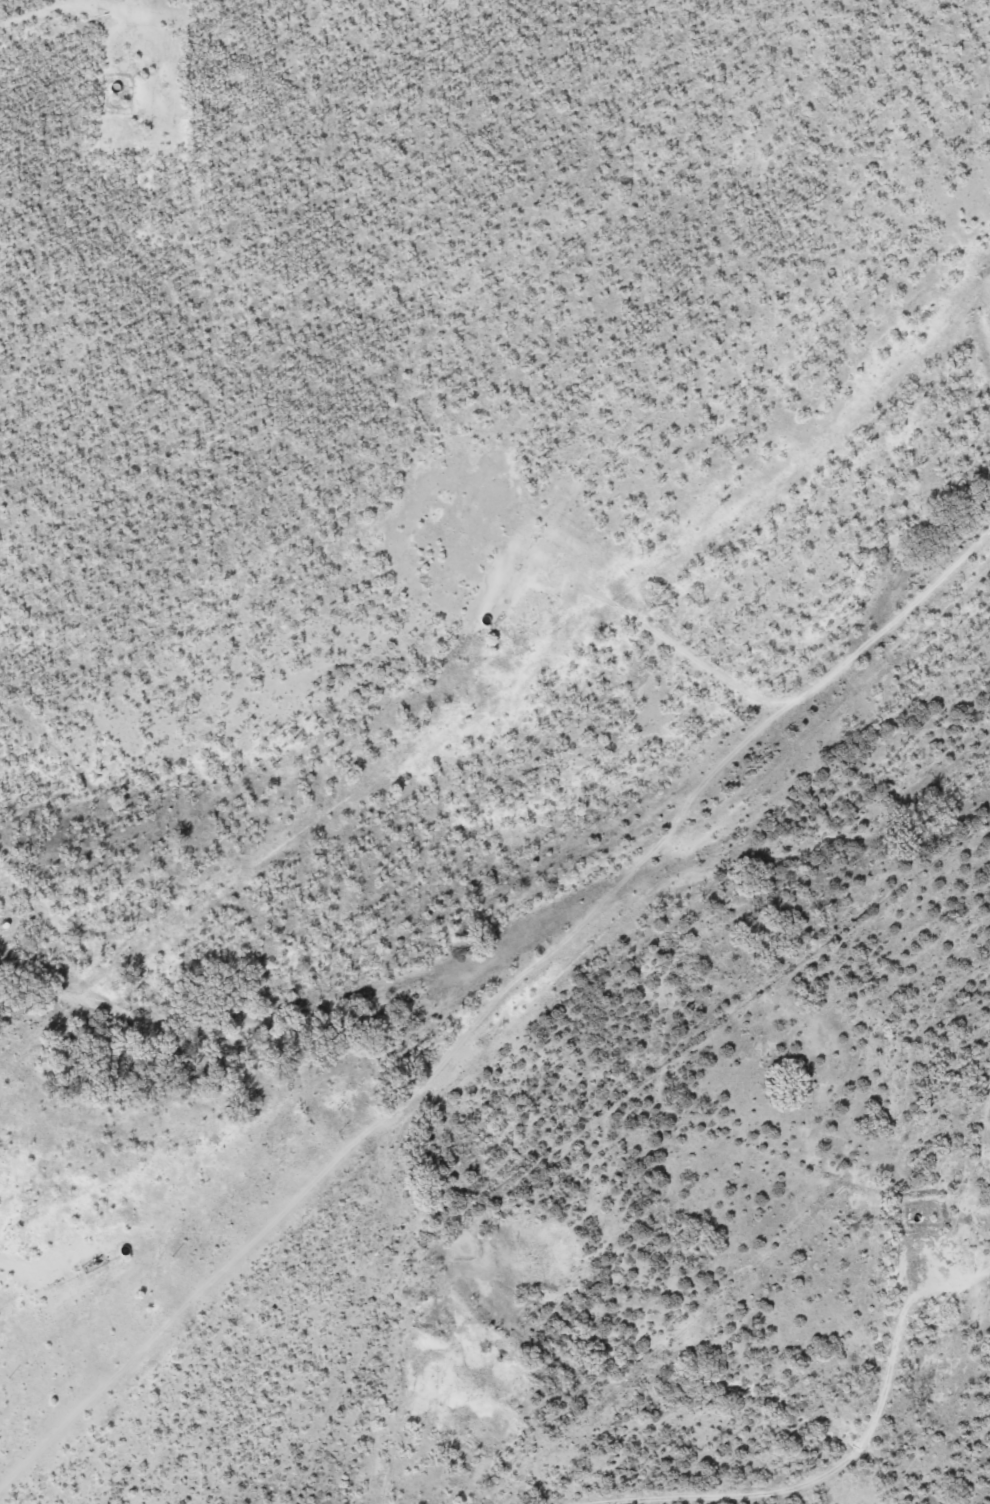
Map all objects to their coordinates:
road: (764, 1484)

